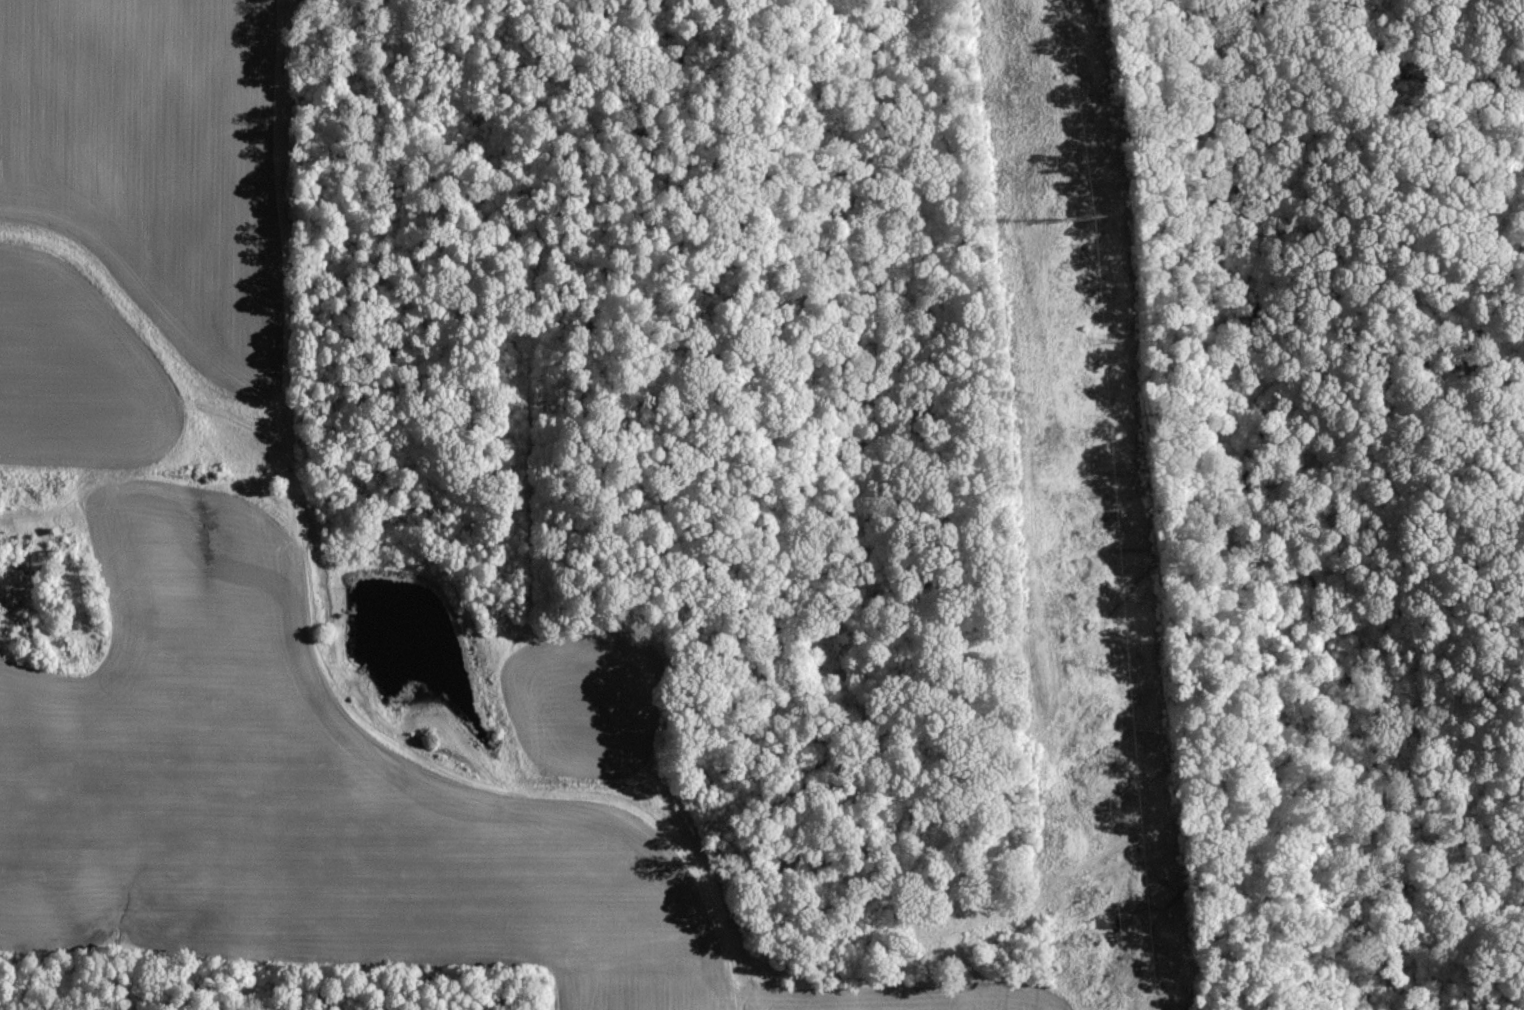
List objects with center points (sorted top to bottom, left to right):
power tower: (1055, 219)

